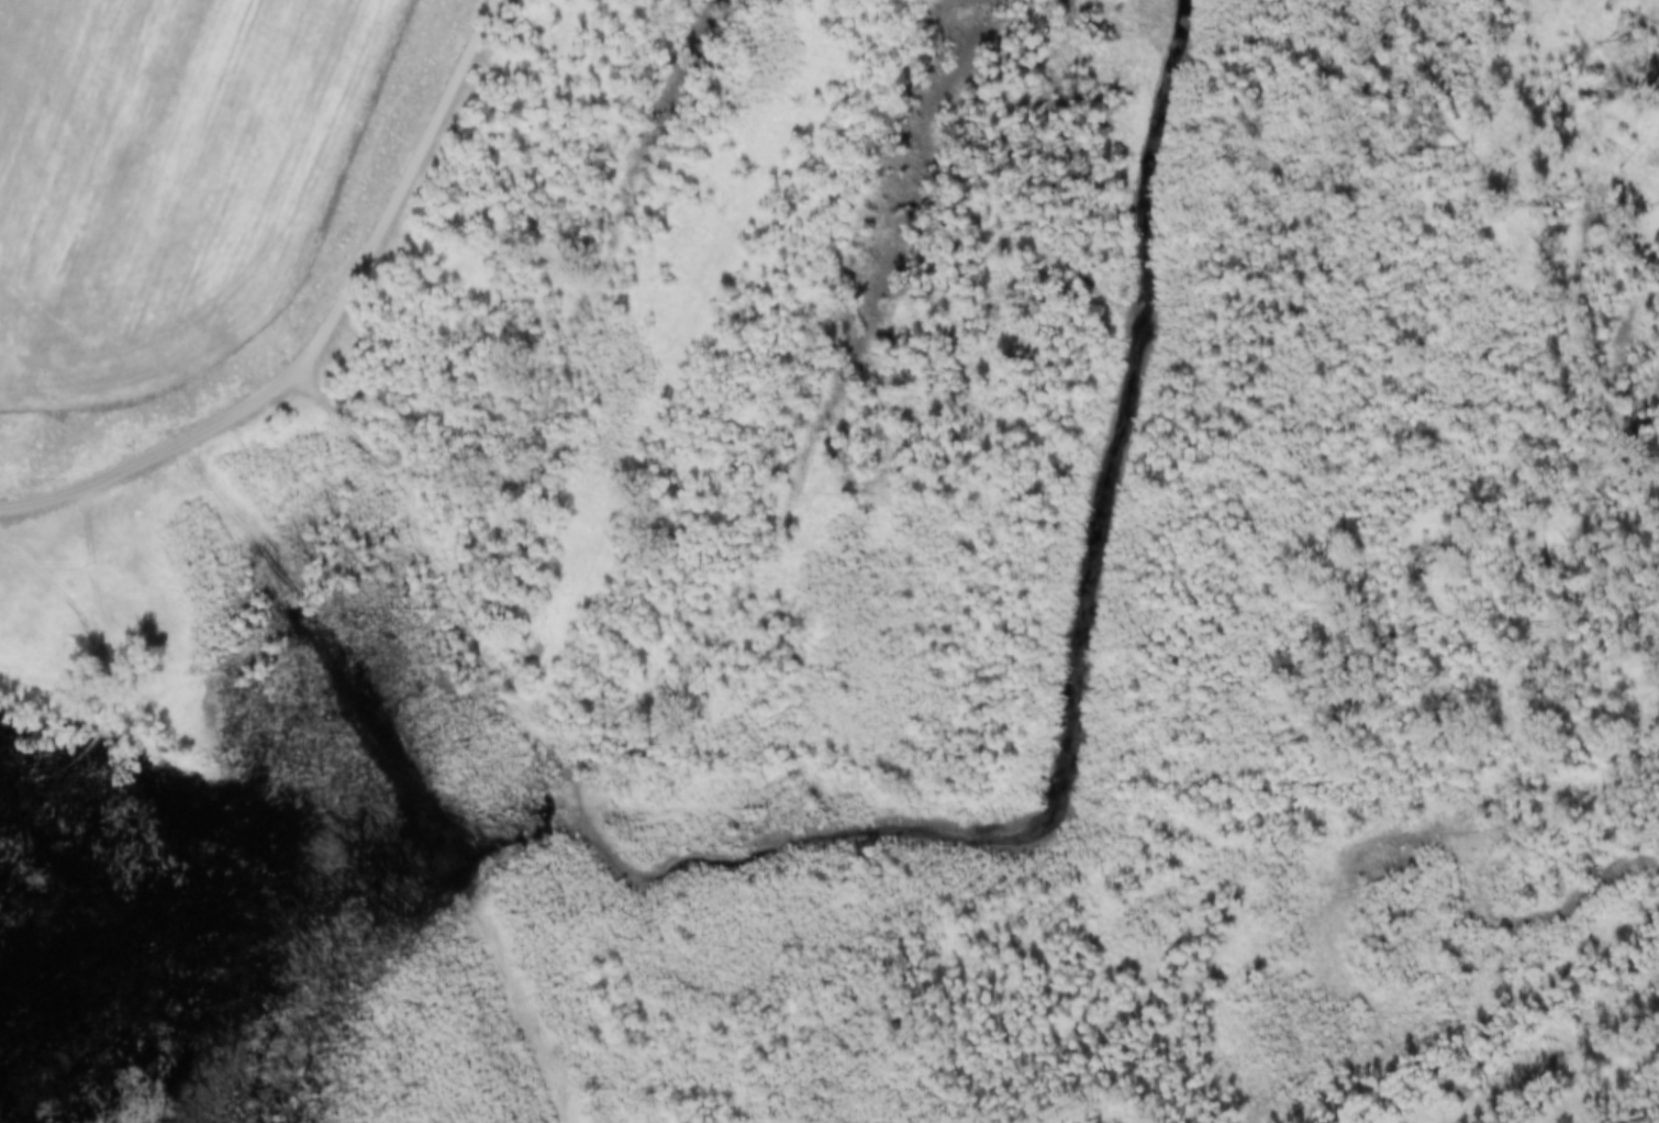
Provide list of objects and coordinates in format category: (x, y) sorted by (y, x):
road: (316, 327)
road: (496, 686)

